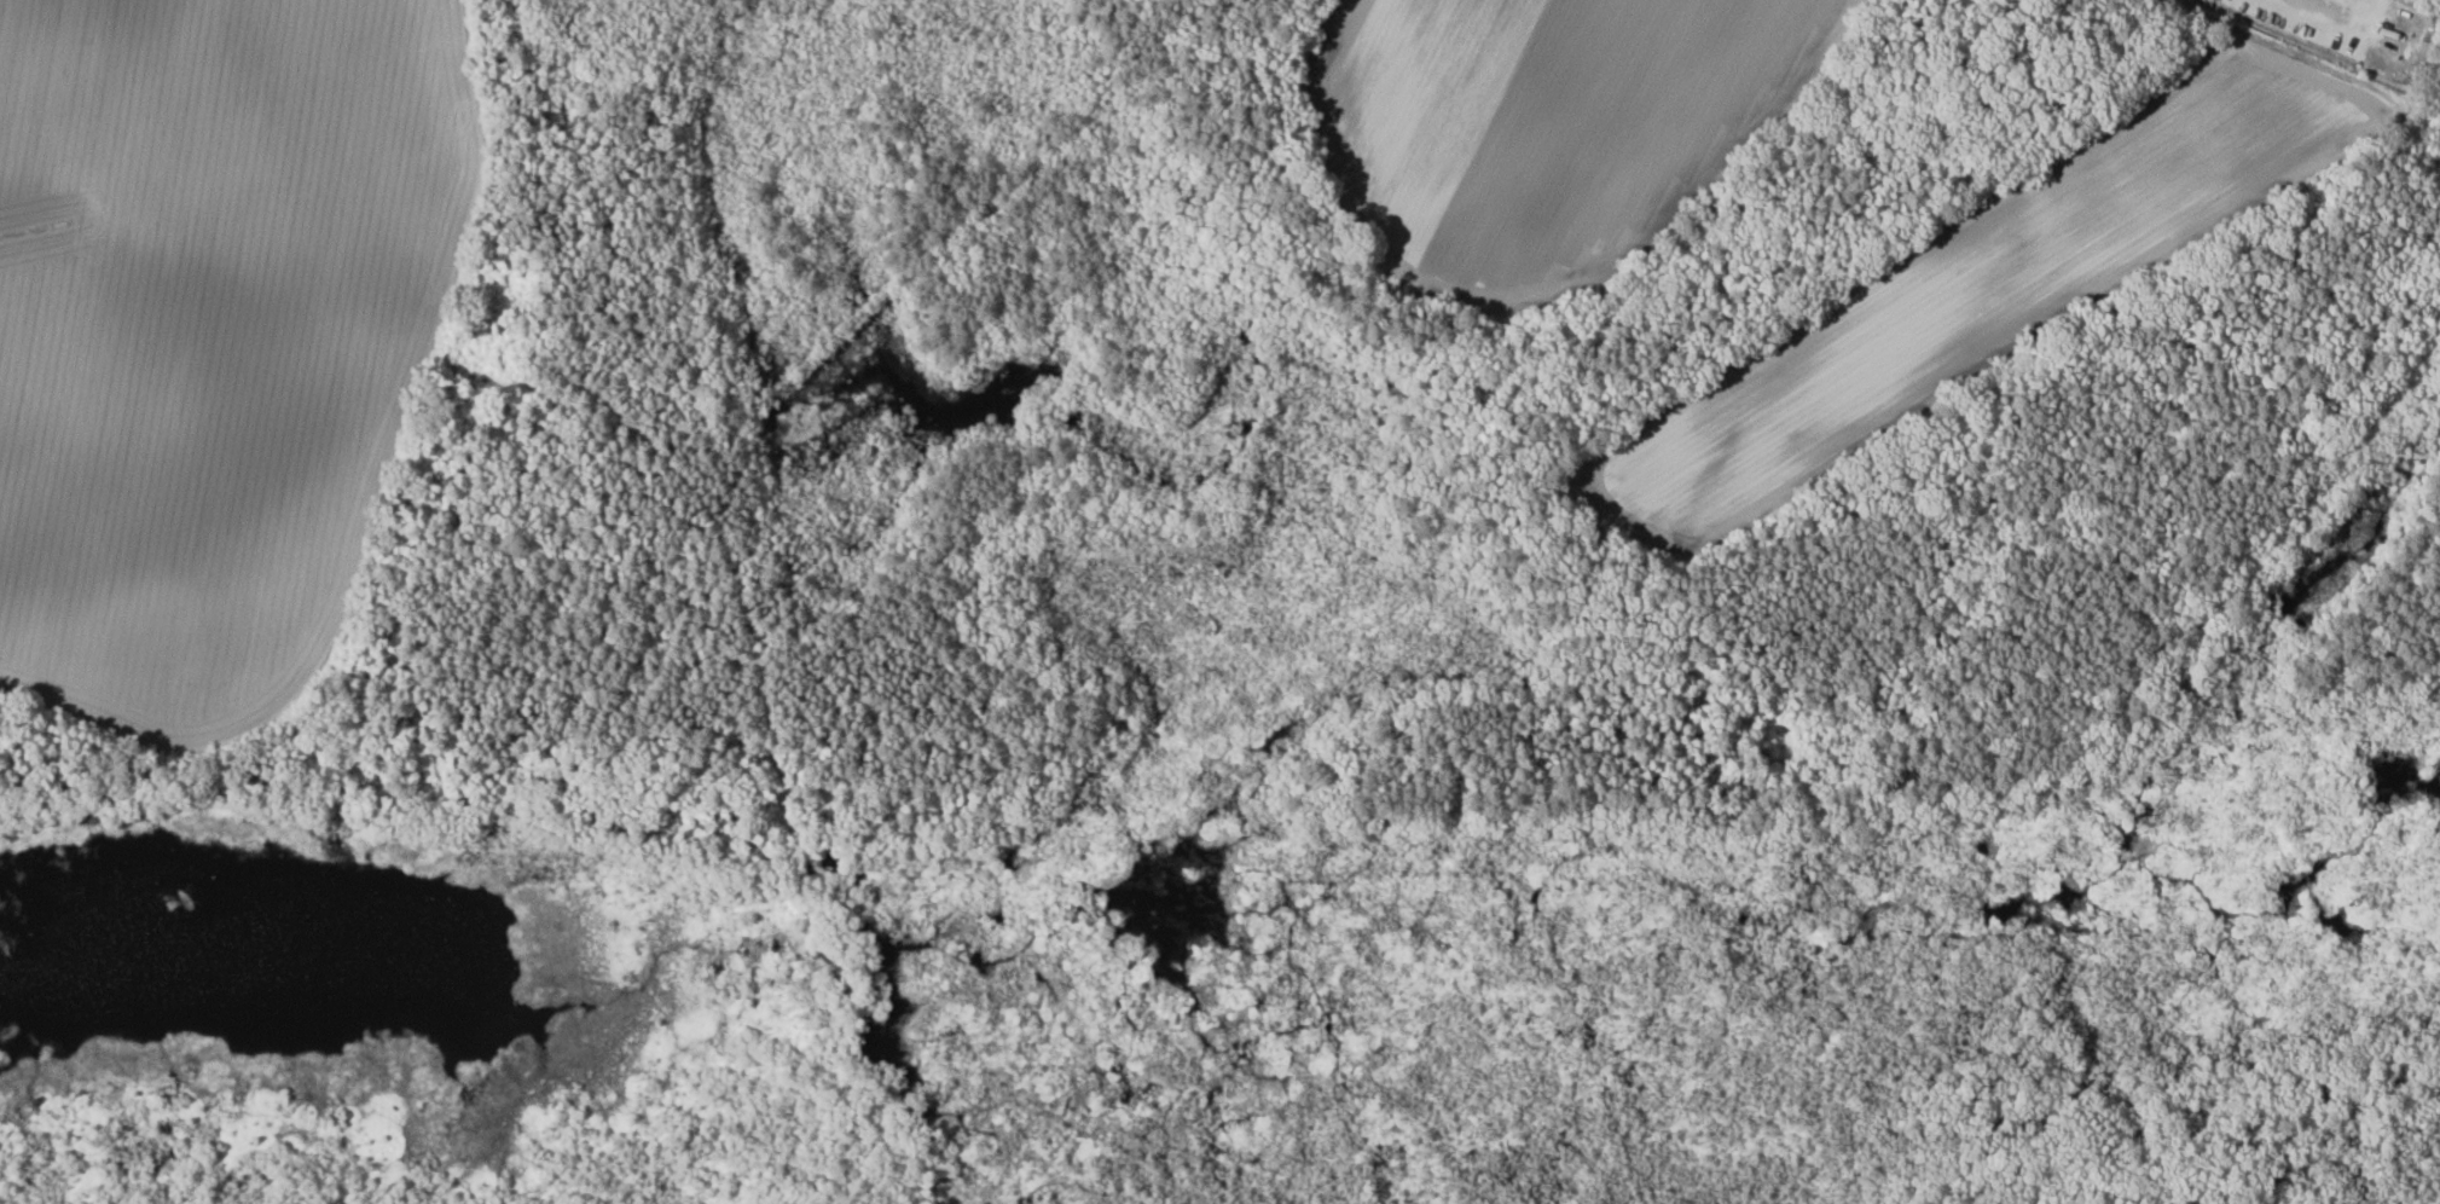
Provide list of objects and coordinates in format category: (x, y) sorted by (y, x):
road: (2325, 7)

